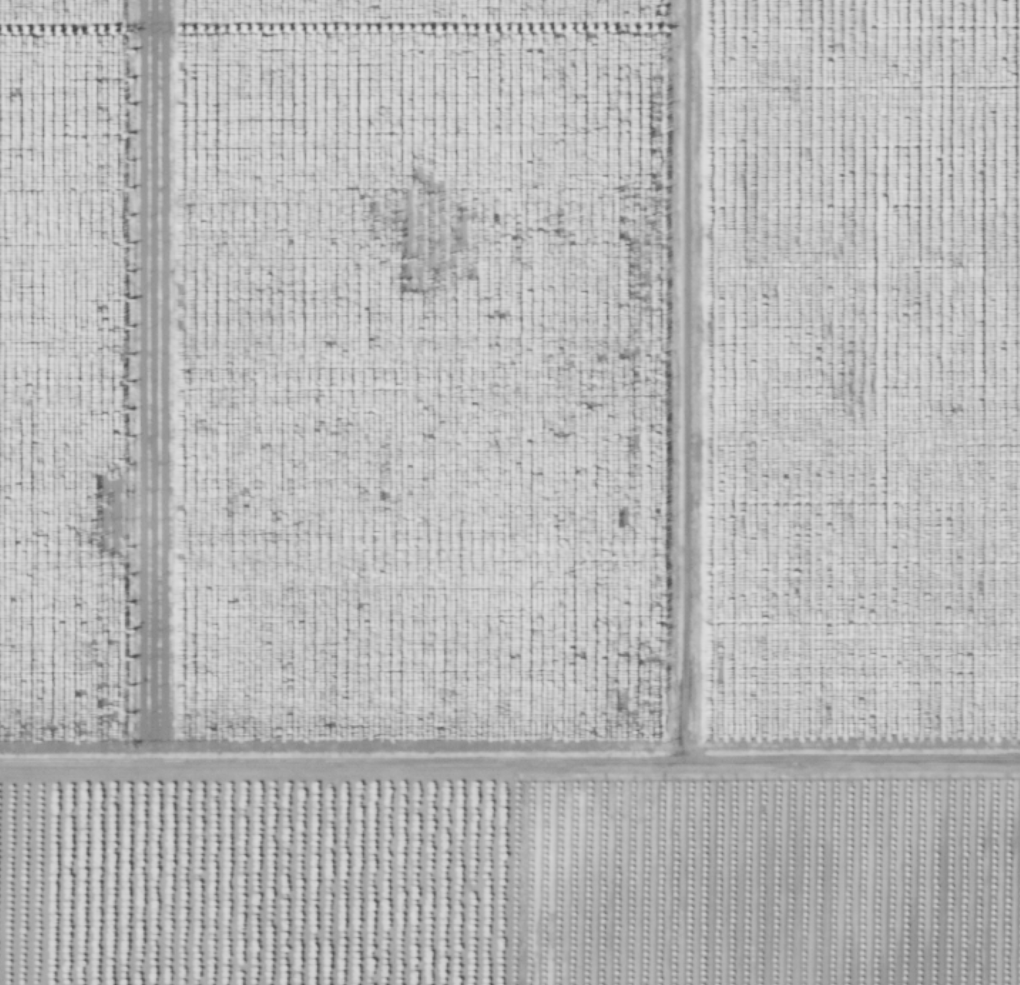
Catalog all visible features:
crop: (513, 877)

